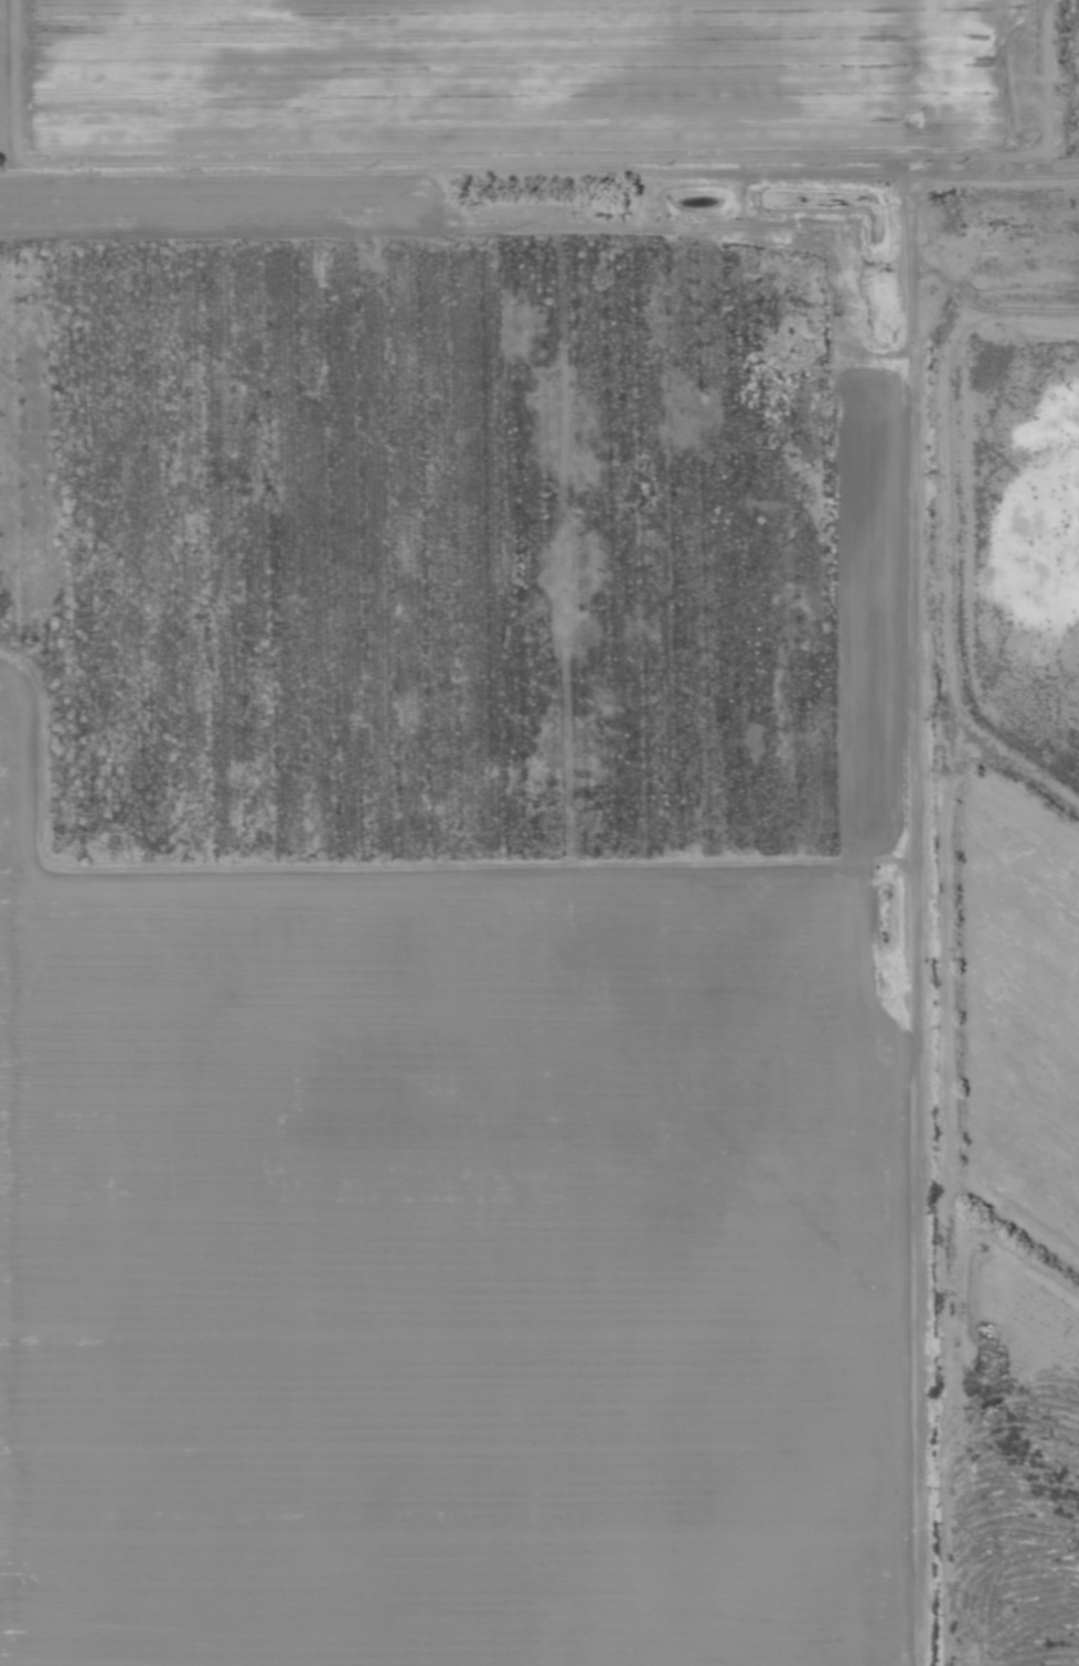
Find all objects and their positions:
building: (1050, 1562)

